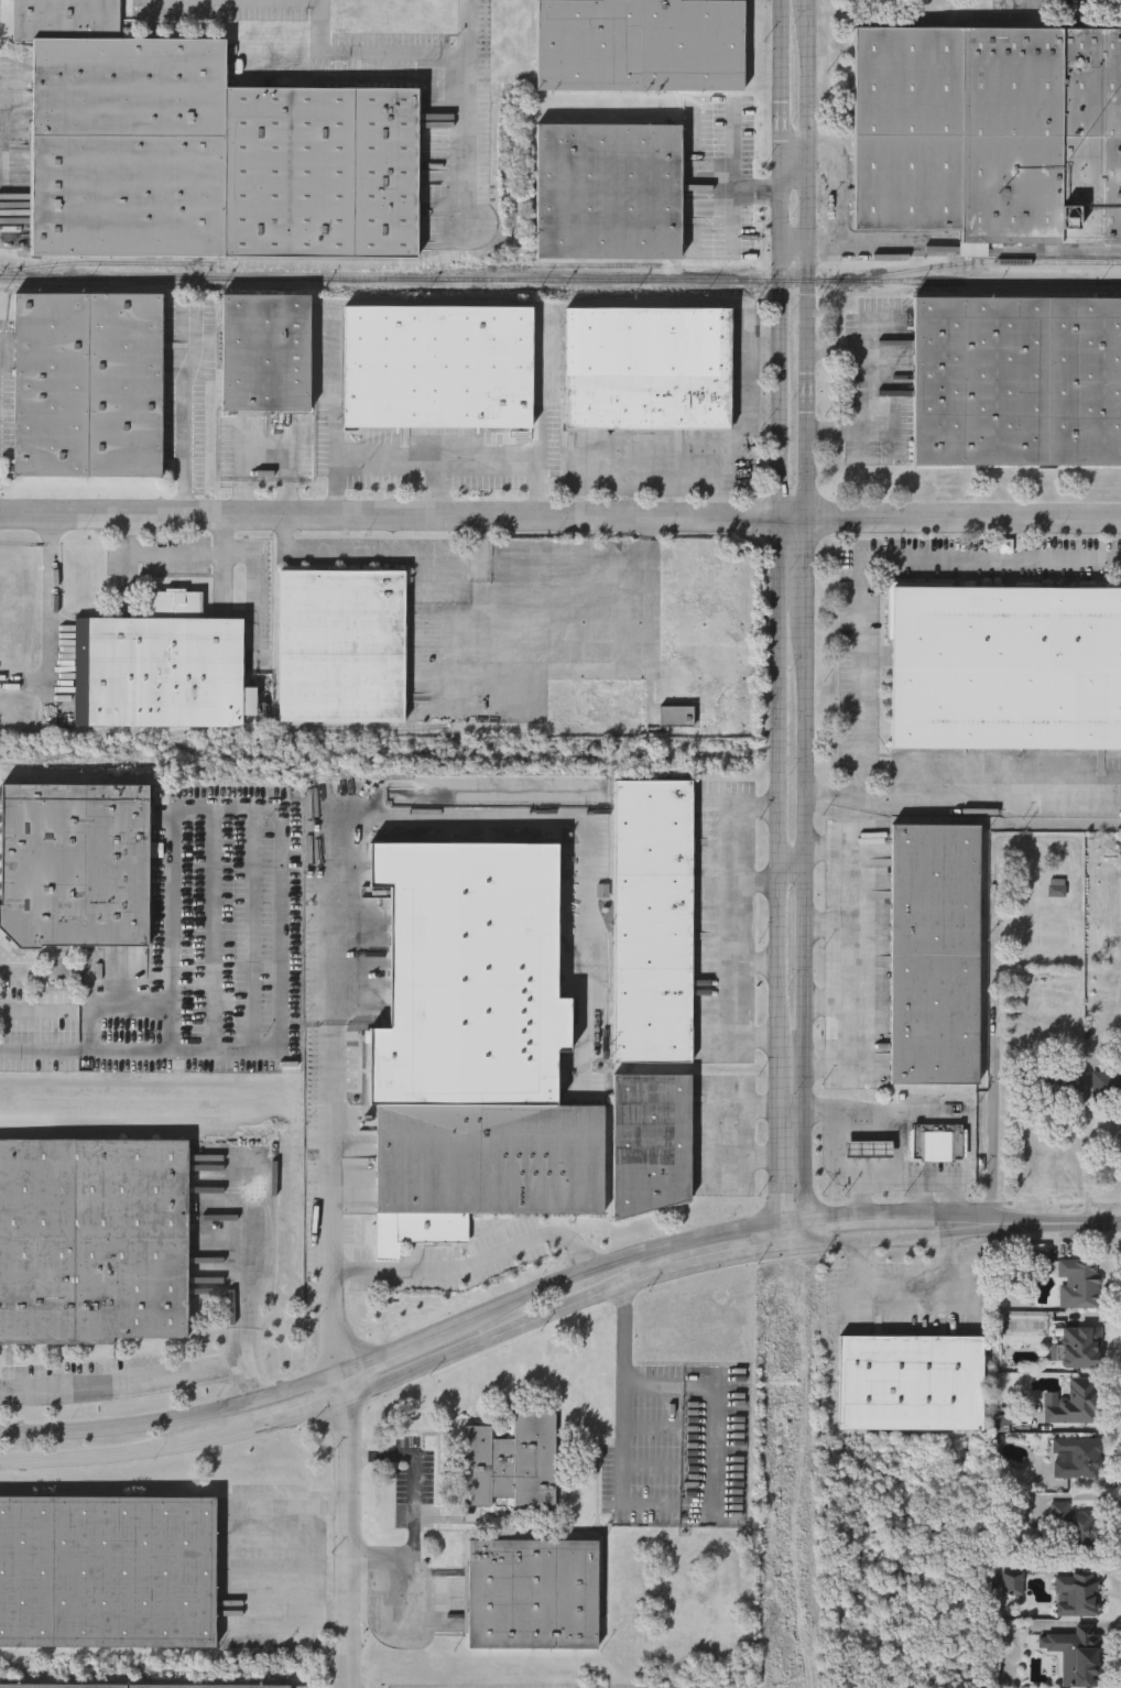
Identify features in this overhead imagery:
road: (184, 1)
road: (468, 26)
building: (641, 46)
road: (404, 53)
building: (989, 133)
building: (204, 152)
road: (794, 156)
road: (733, 184)
road: (836, 187)
building: (609, 193)
road: (794, 246)
road: (863, 246)
railway: (983, 262)
railway: (557, 263)
railway: (118, 264)
railway: (559, 281)
railway: (1118, 282)
building: (266, 355)
building: (438, 369)
building: (647, 370)
building: (1016, 381)
building: (88, 386)
road: (187, 421)
road: (752, 436)
road: (266, 442)
road: (437, 468)
road: (578, 483)
road: (649, 486)
road: (438, 493)
road: (559, 520)
road: (225, 537)
road: (1006, 537)
road: (219, 555)
road: (387, 558)
road: (869, 558)
road: (805, 609)
road: (779, 610)
building: (342, 647)
building: (1005, 668)
building: (162, 669)
building: (677, 718)
road: (825, 794)
road: (982, 808)
road: (279, 809)
road: (816, 849)
building: (74, 867)
road: (791, 867)
road: (755, 881)
road: (733, 921)
building: (653, 924)
road: (834, 926)
road: (862, 950)
building: (934, 956)
road: (755, 966)
building: (468, 973)
road: (832, 1004)
road: (88, 1011)
road: (87, 1053)
road: (819, 1063)
building: (1108, 1086)
road: (889, 1118)
building: (652, 1142)
building: (936, 1143)
building: (868, 1150)
road: (1089, 1162)
building: (481, 1167)
road: (888, 1178)
road: (859, 1198)
road: (349, 1205)
road: (905, 1217)
road: (832, 1218)
road: (793, 1219)
road: (1106, 1224)
road: (1019, 1226)
road: (807, 1231)
road: (781, 1233)
road: (905, 1239)
building: (92, 1242)
road: (835, 1242)
road: (479, 1256)
road: (609, 1263)
road: (908, 1285)
building: (1078, 1285)
road: (391, 1348)
building: (1077, 1349)
road: (227, 1365)
road: (409, 1373)
road: (248, 1381)
building: (912, 1384)
road: (662, 1385)
building: (1075, 1404)
road: (172, 1416)
road: (372, 1457)
building: (1075, 1459)
building: (511, 1463)
road: (415, 1471)
road: (660, 1505)
road: (348, 1527)
building: (1073, 1535)
road: (406, 1559)
building: (107, 1572)
building: (532, 1596)
building: (1076, 1596)
building: (1075, 1655)
building: (133, 1686)

